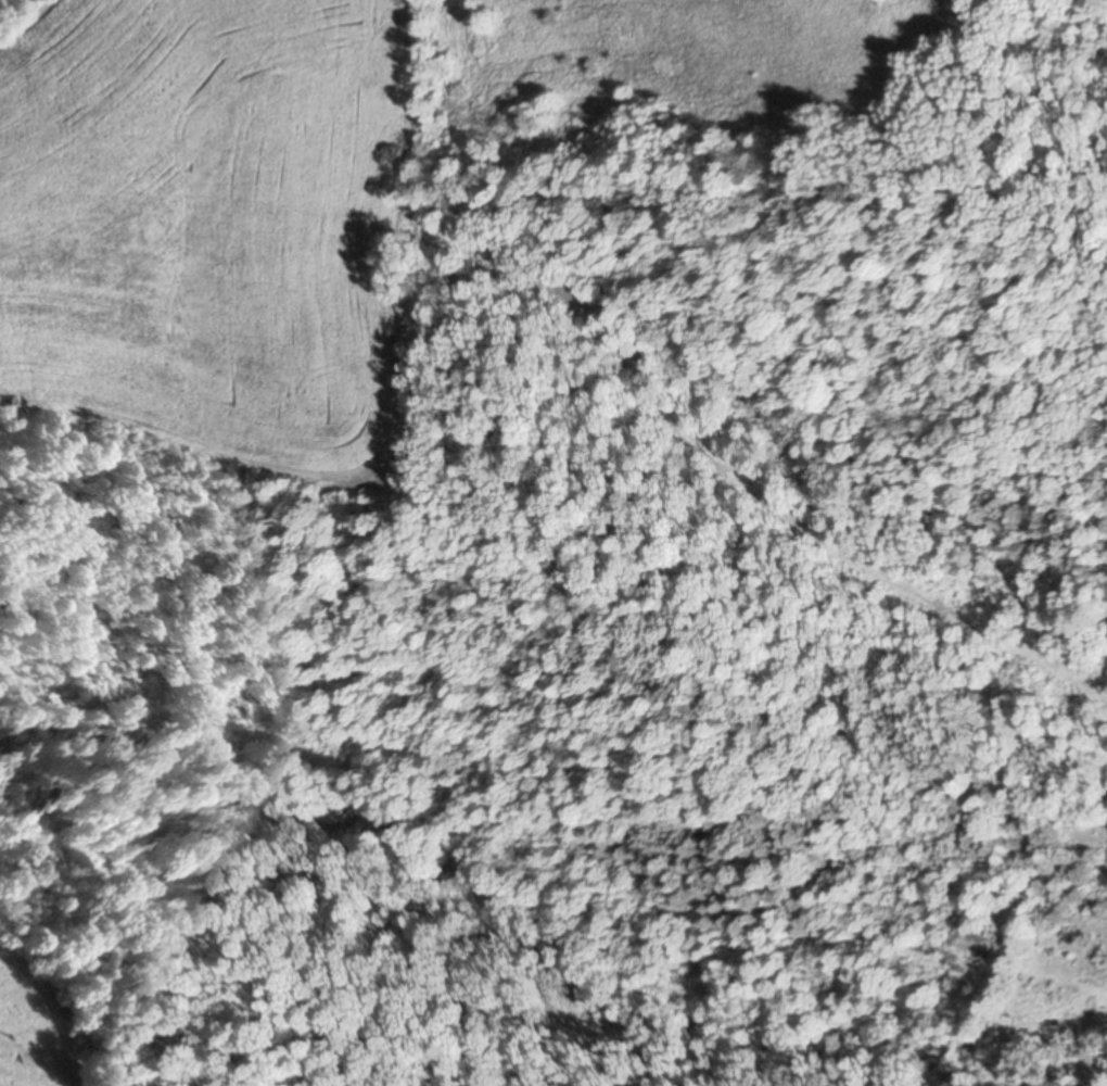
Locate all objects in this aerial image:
building: (970, 956)
building: (1004, 1025)

